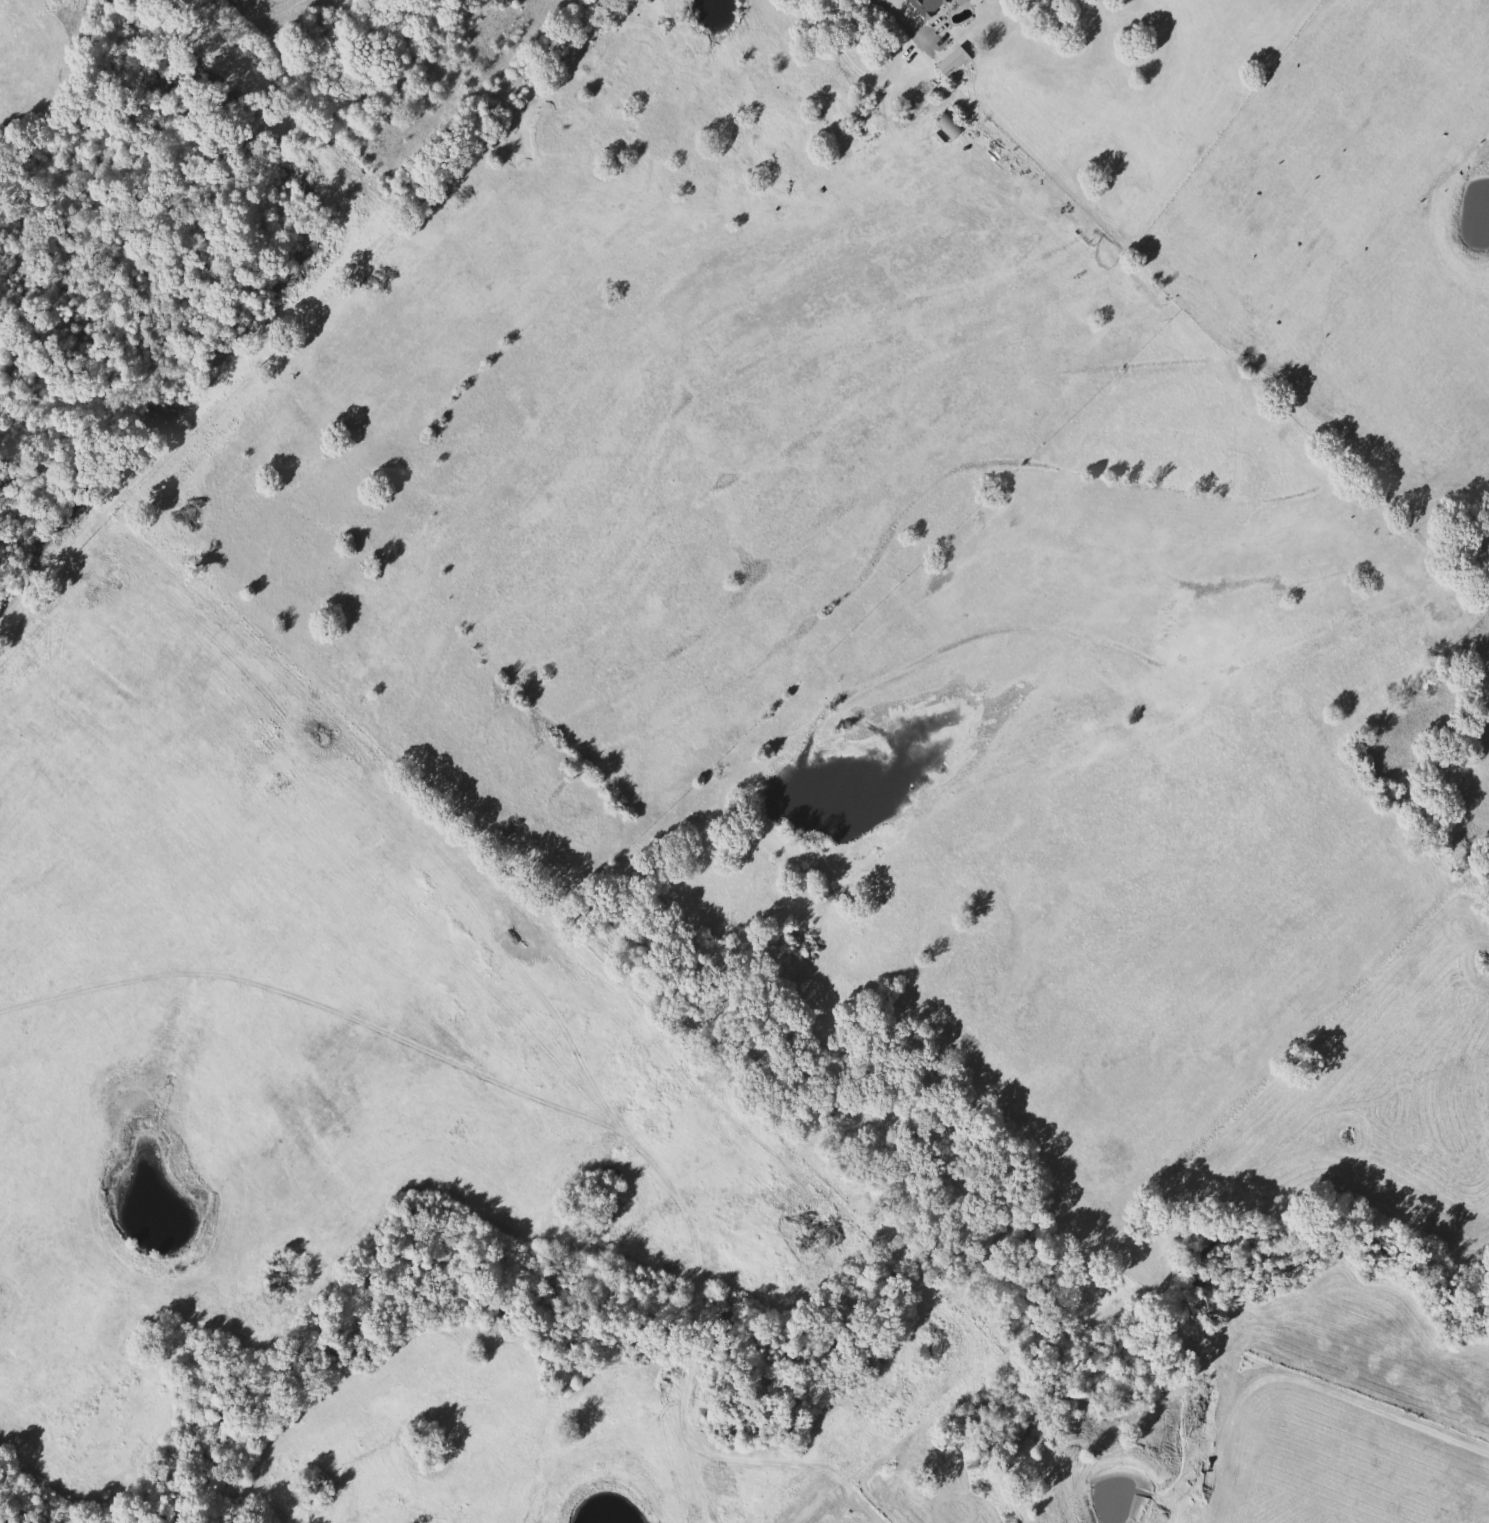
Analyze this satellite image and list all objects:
building: (922, 6)
road: (892, 12)
road: (555, 36)
building: (950, 61)
building: (948, 124)

